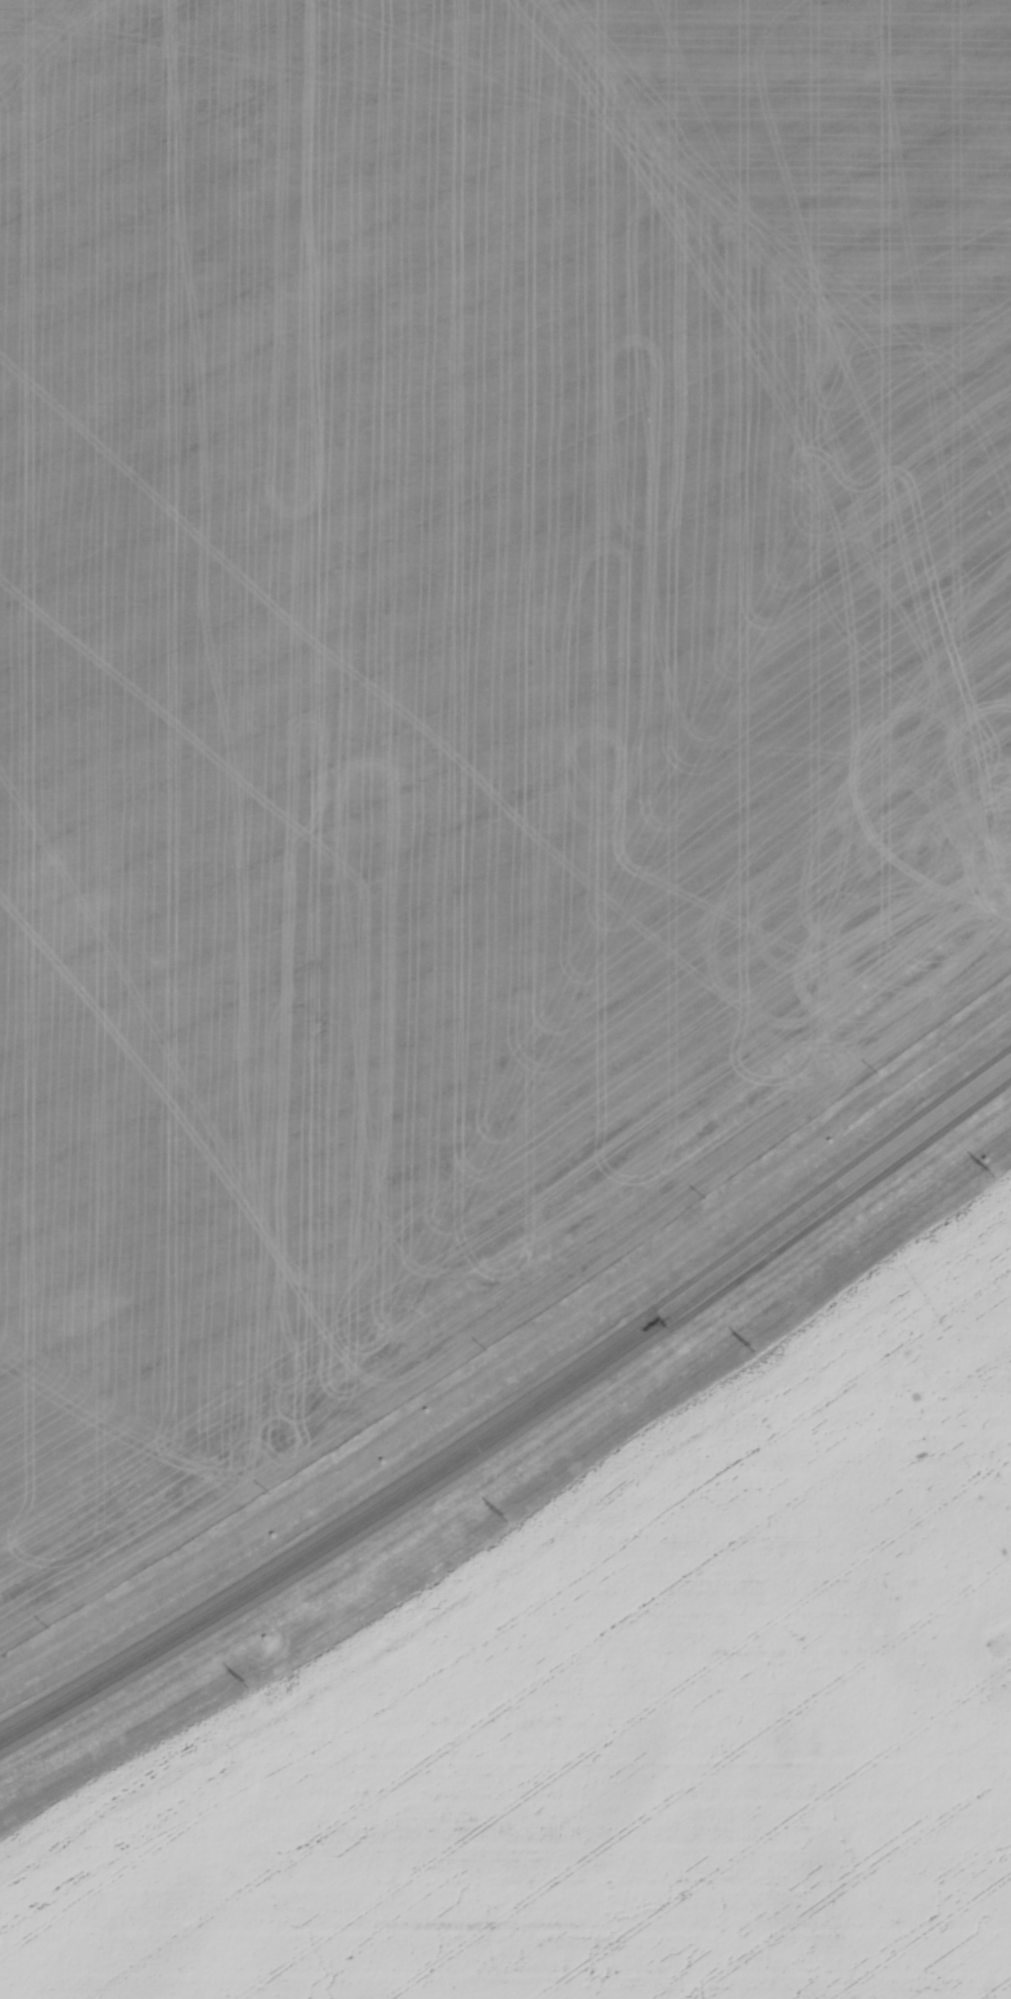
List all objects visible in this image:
road: (516, 1421)

